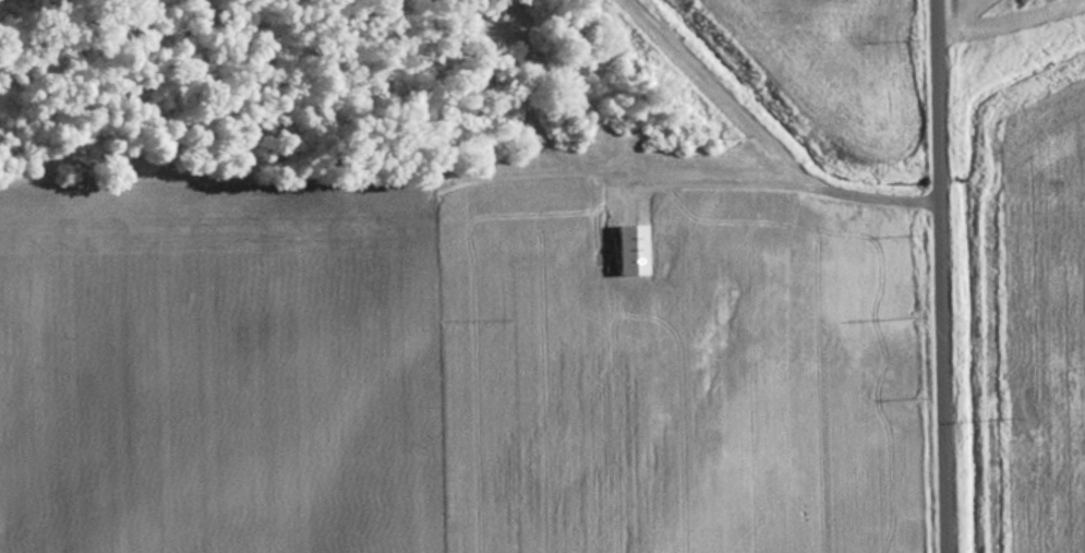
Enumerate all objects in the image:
building: (782, 8)
road: (788, 170)
building: (626, 250)
road: (944, 276)

